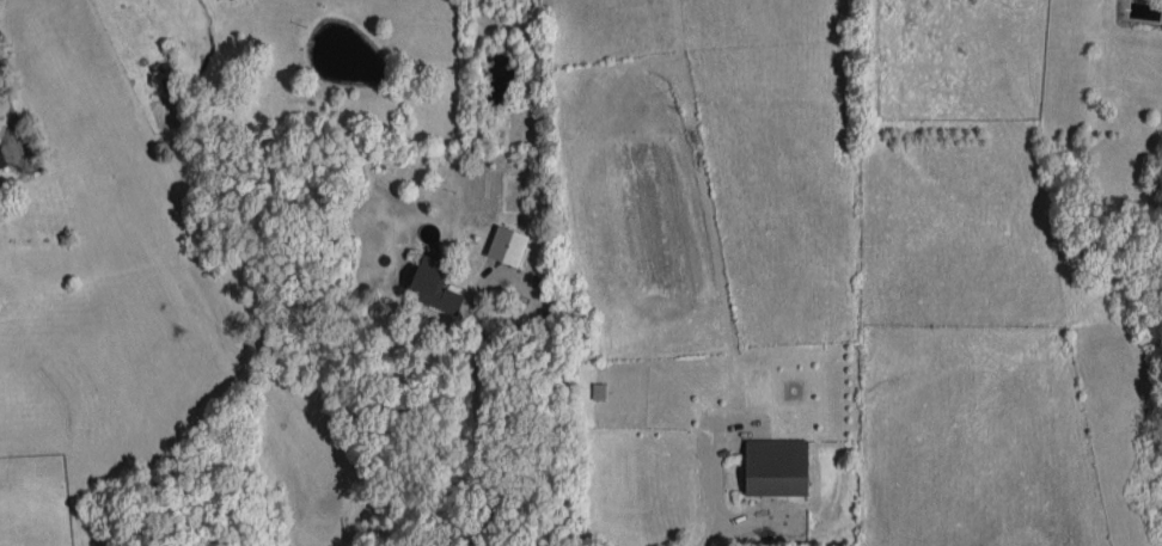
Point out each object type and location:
road: (6, 104)
building: (1, 159)
building: (507, 244)
building: (433, 284)
building: (598, 389)
road: (482, 446)
building: (776, 466)
road: (709, 533)

